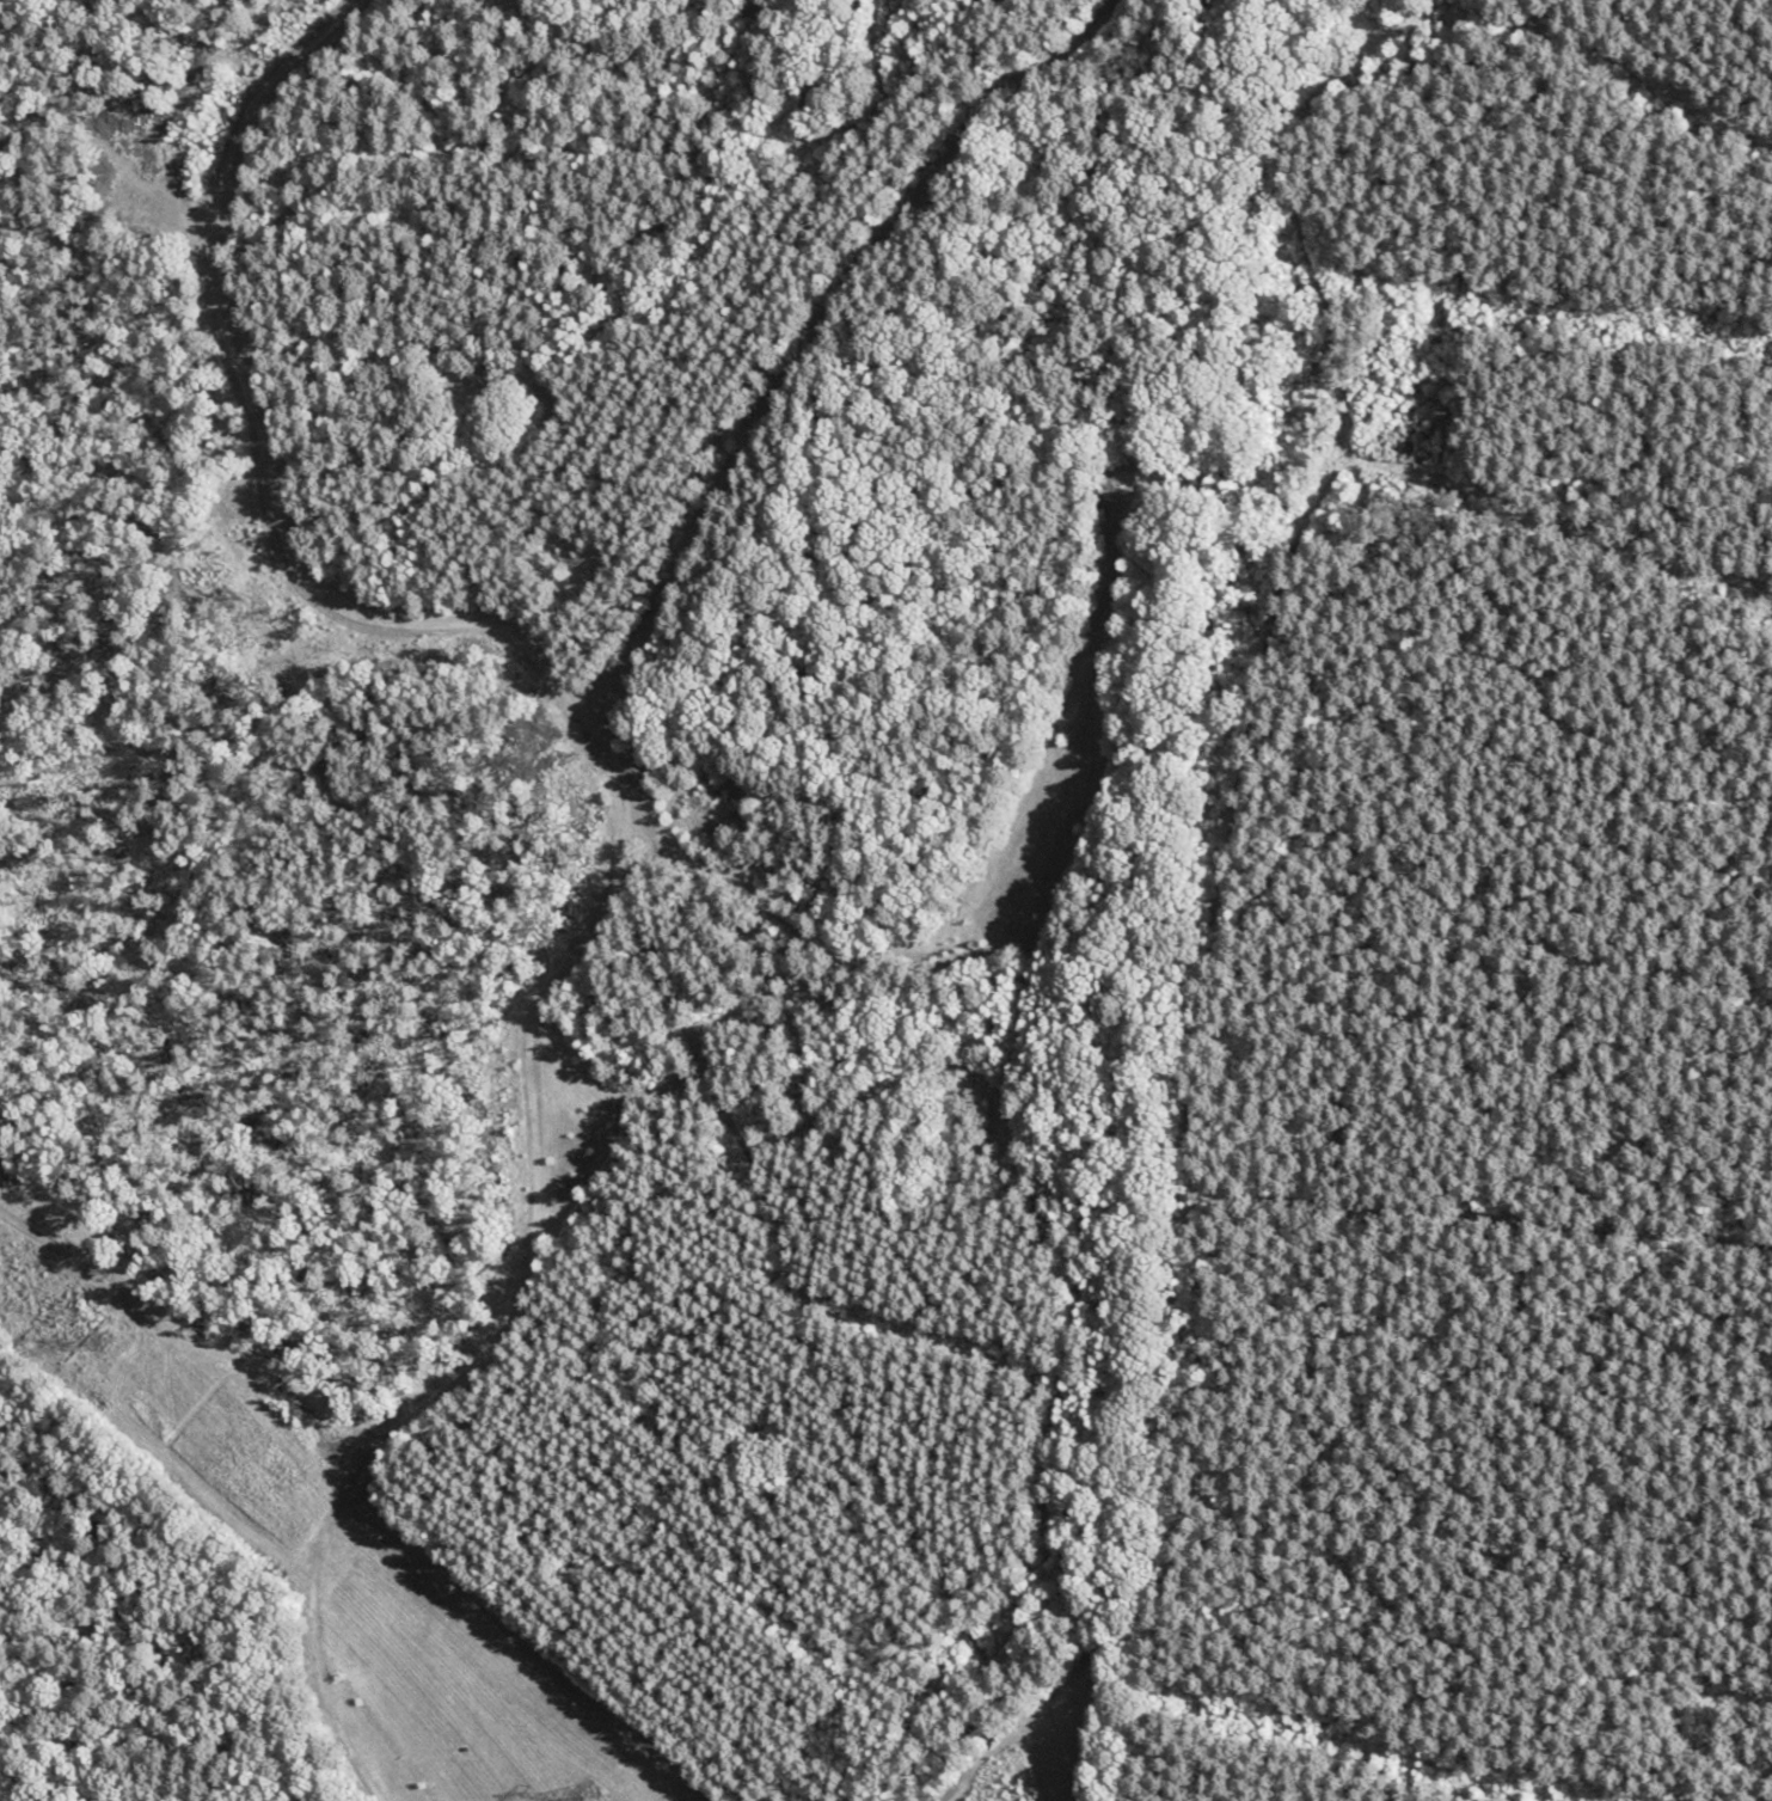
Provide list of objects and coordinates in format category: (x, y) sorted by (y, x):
power tower: (90, 1344)
power tower: (585, 1799)

